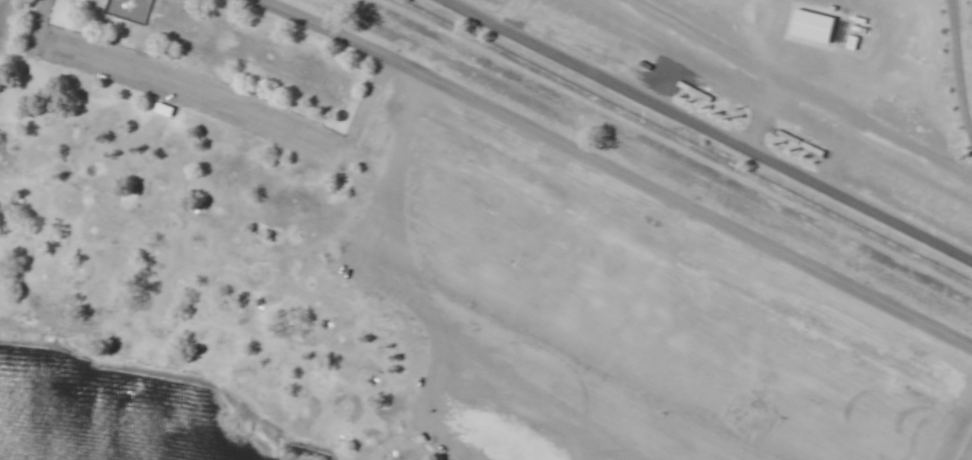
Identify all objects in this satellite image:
road: (223, 106)
building: (165, 109)
road: (712, 126)
road: (626, 170)

